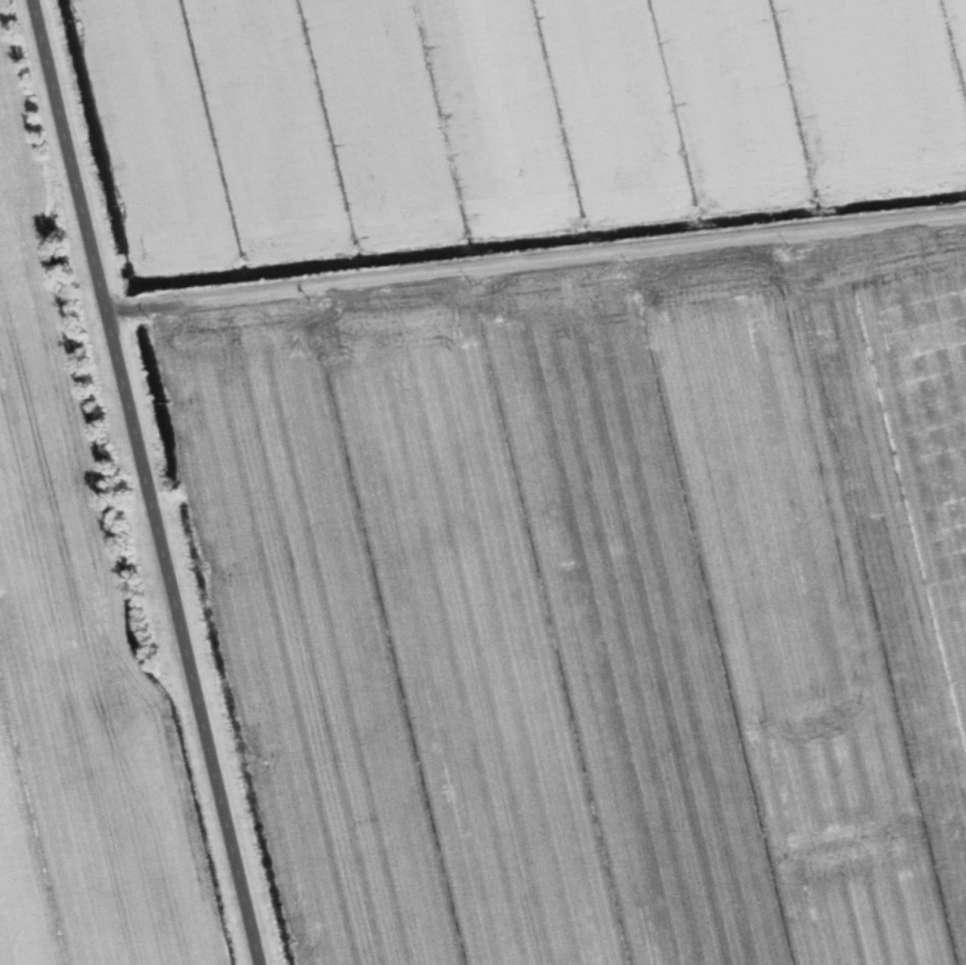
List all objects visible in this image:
road: (533, 253)
road: (142, 482)
crop: (74, 674)

